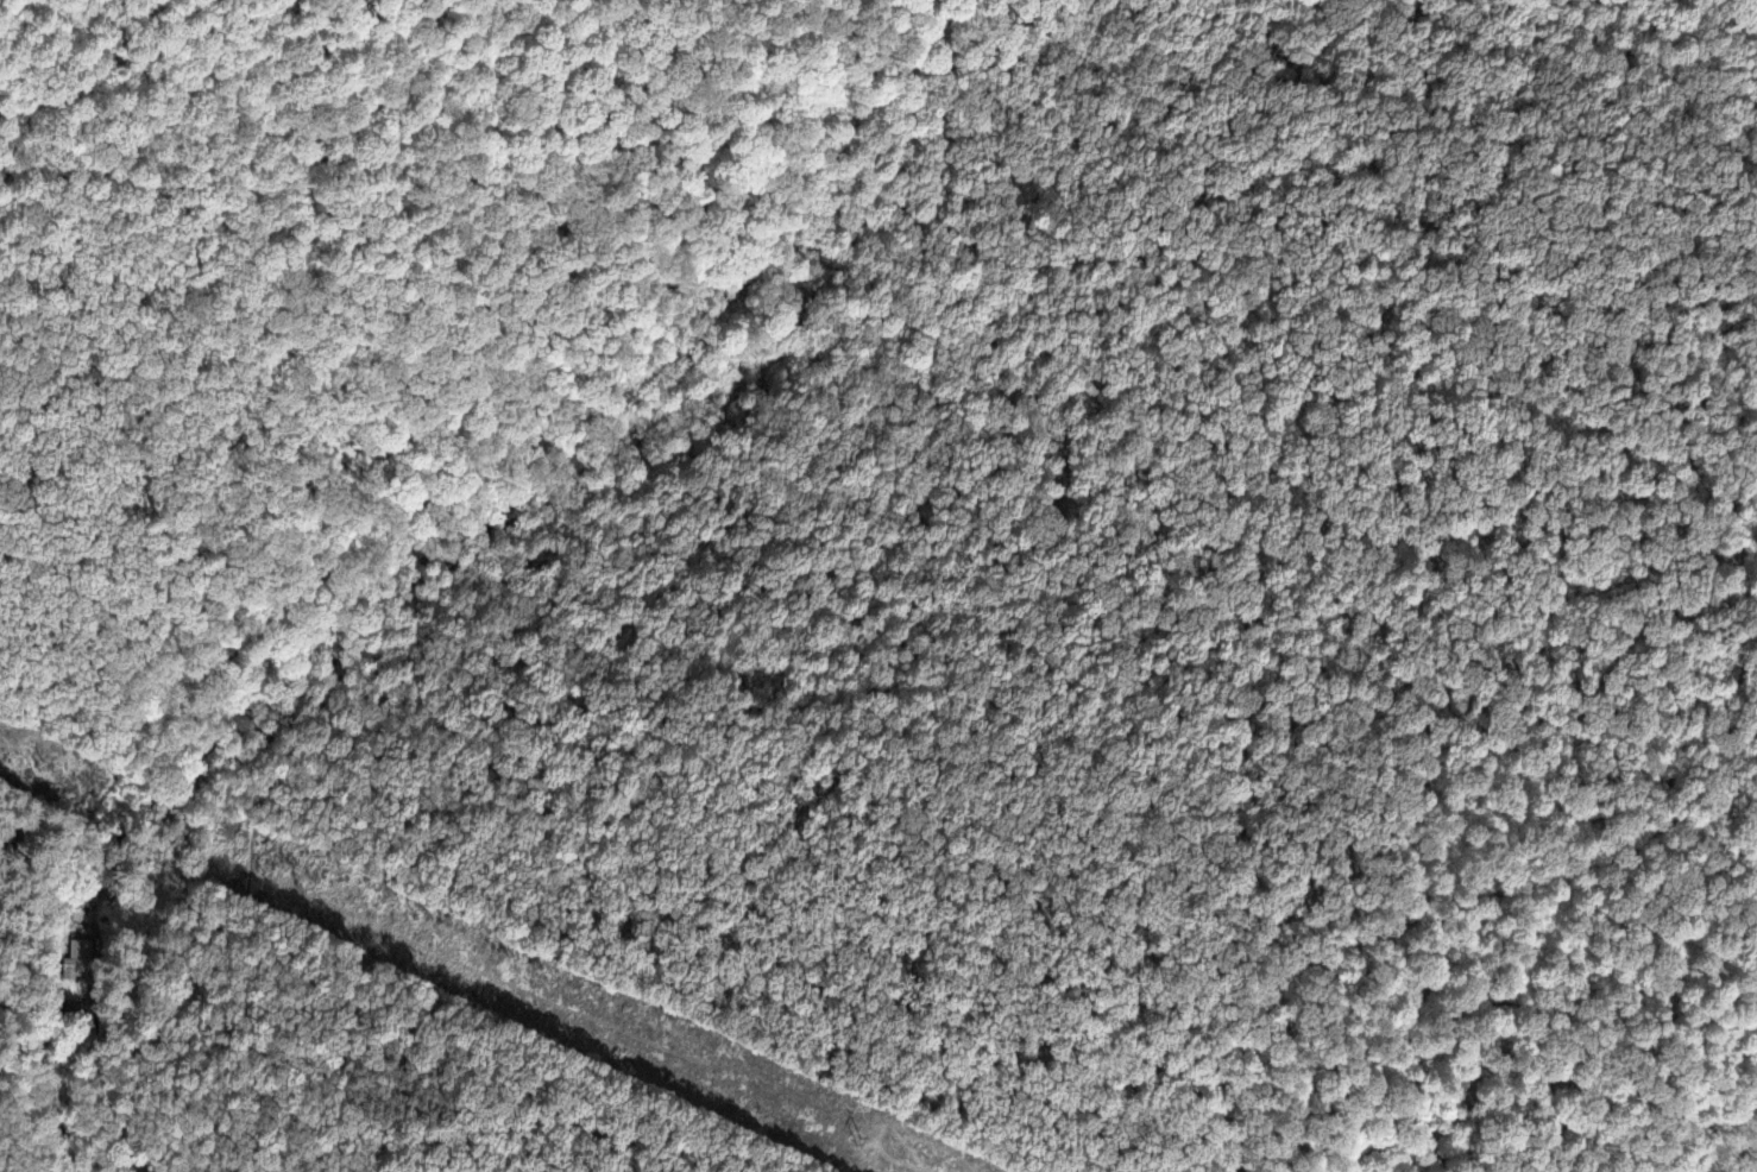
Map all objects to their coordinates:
road: (102, 1080)

